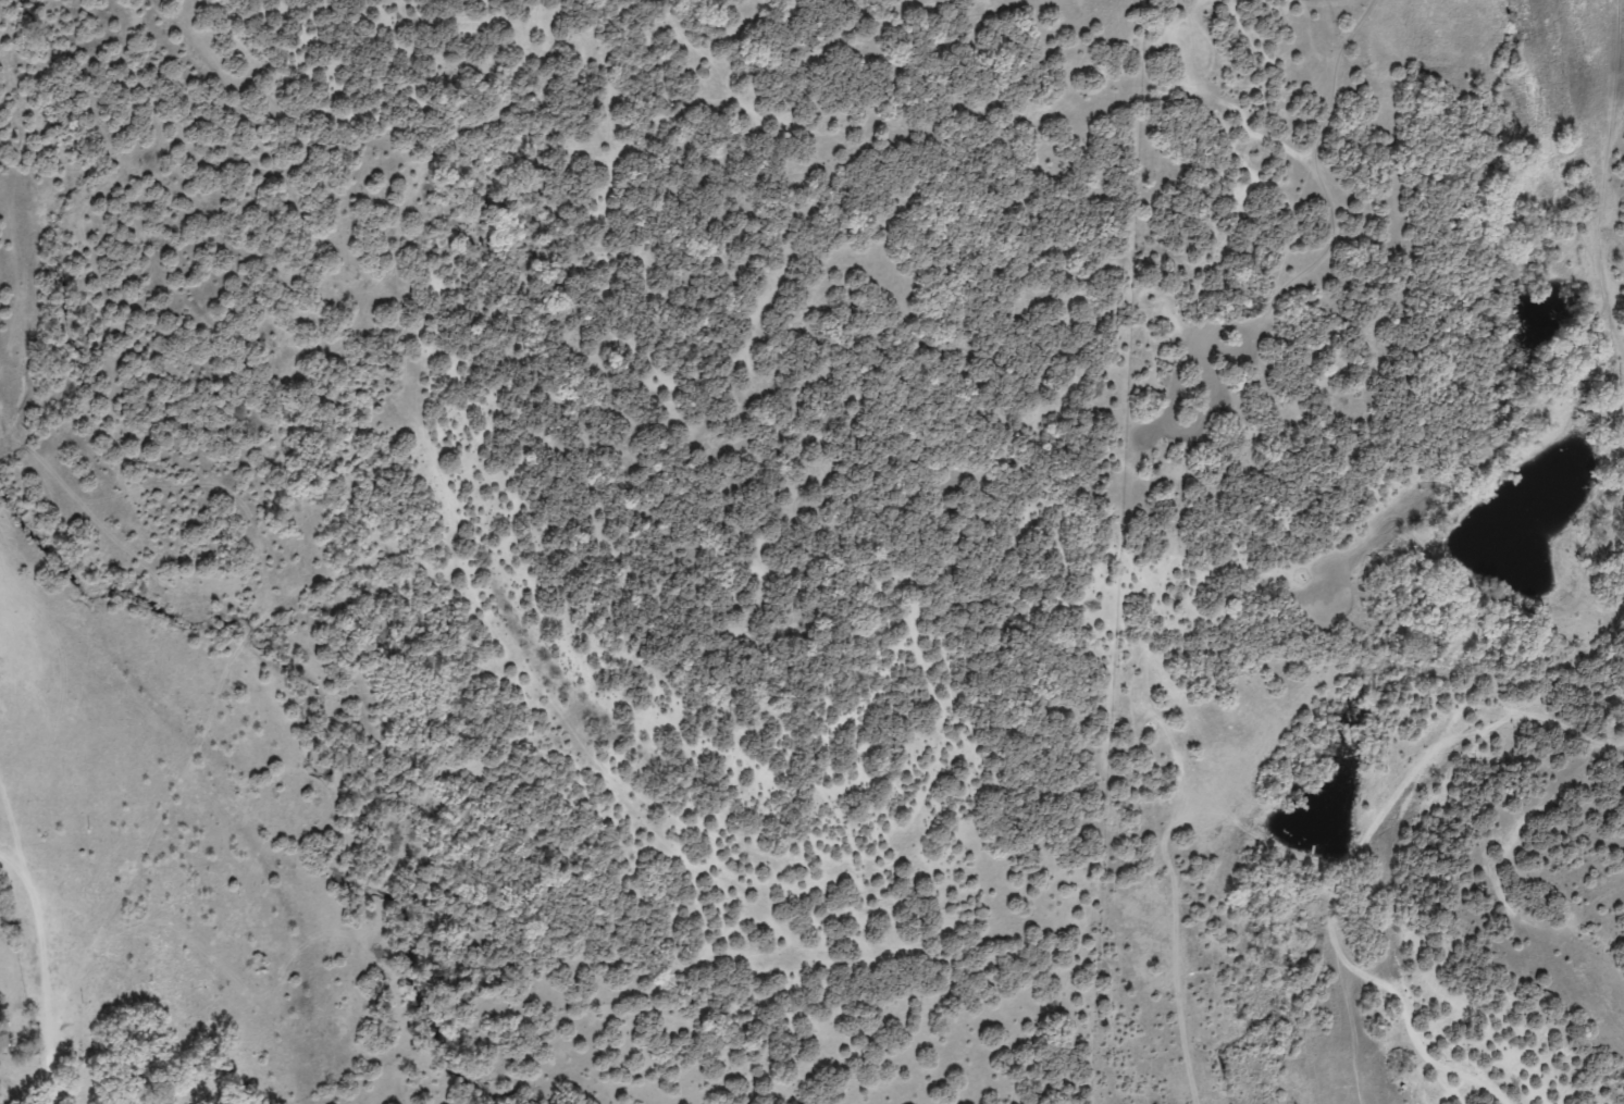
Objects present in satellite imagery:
road: (1106, 927)
road: (24, 1000)
building: (3, 1037)

